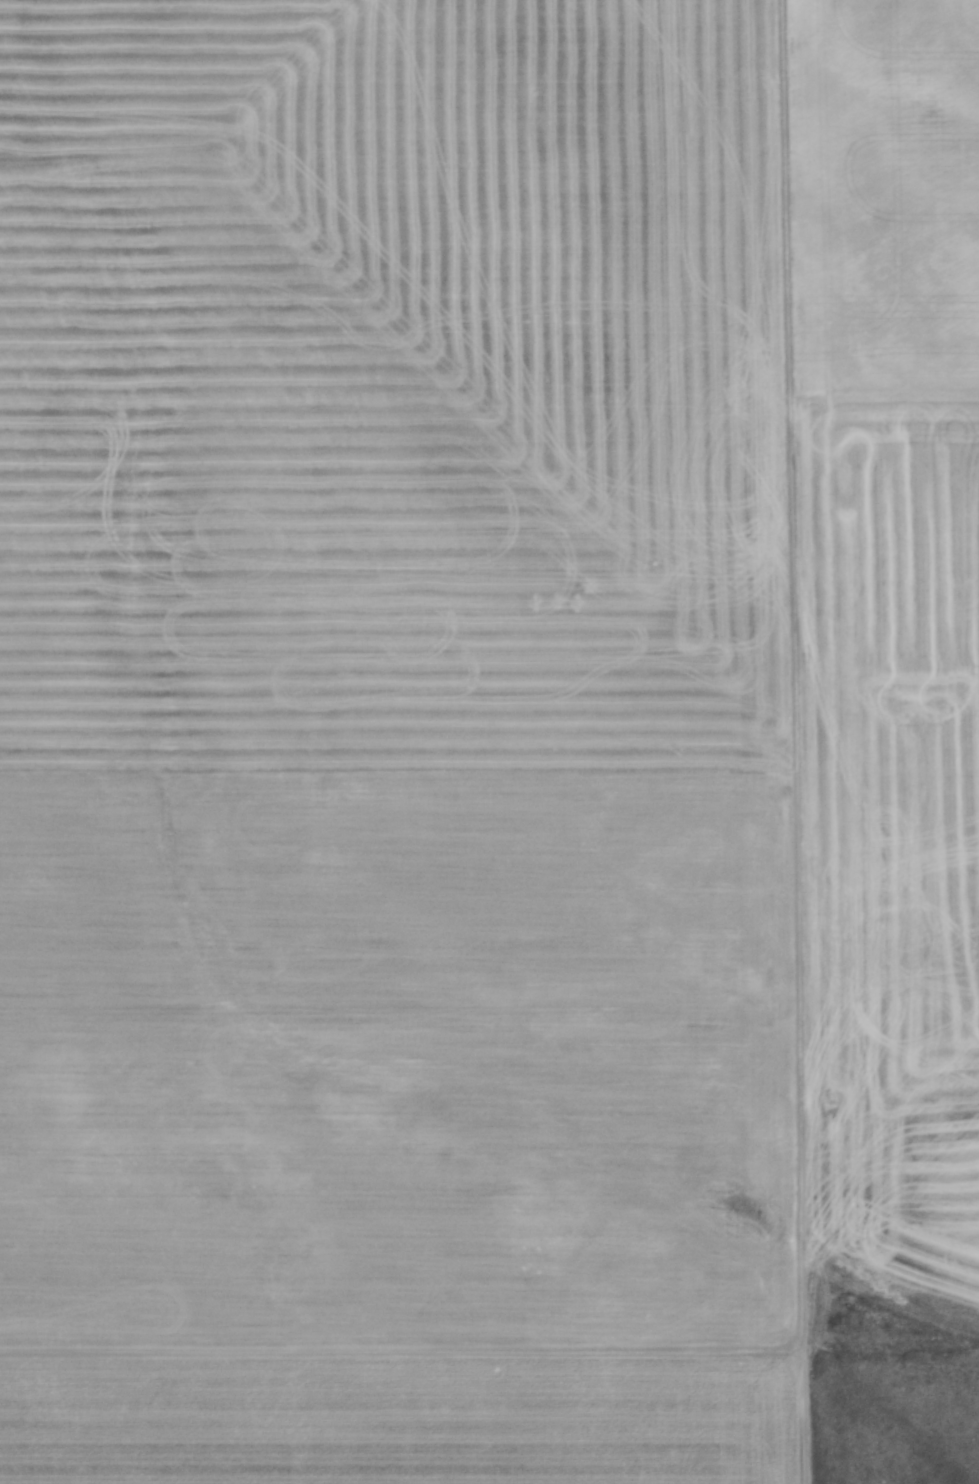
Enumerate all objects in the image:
crop: (488, 670)
road: (796, 741)

